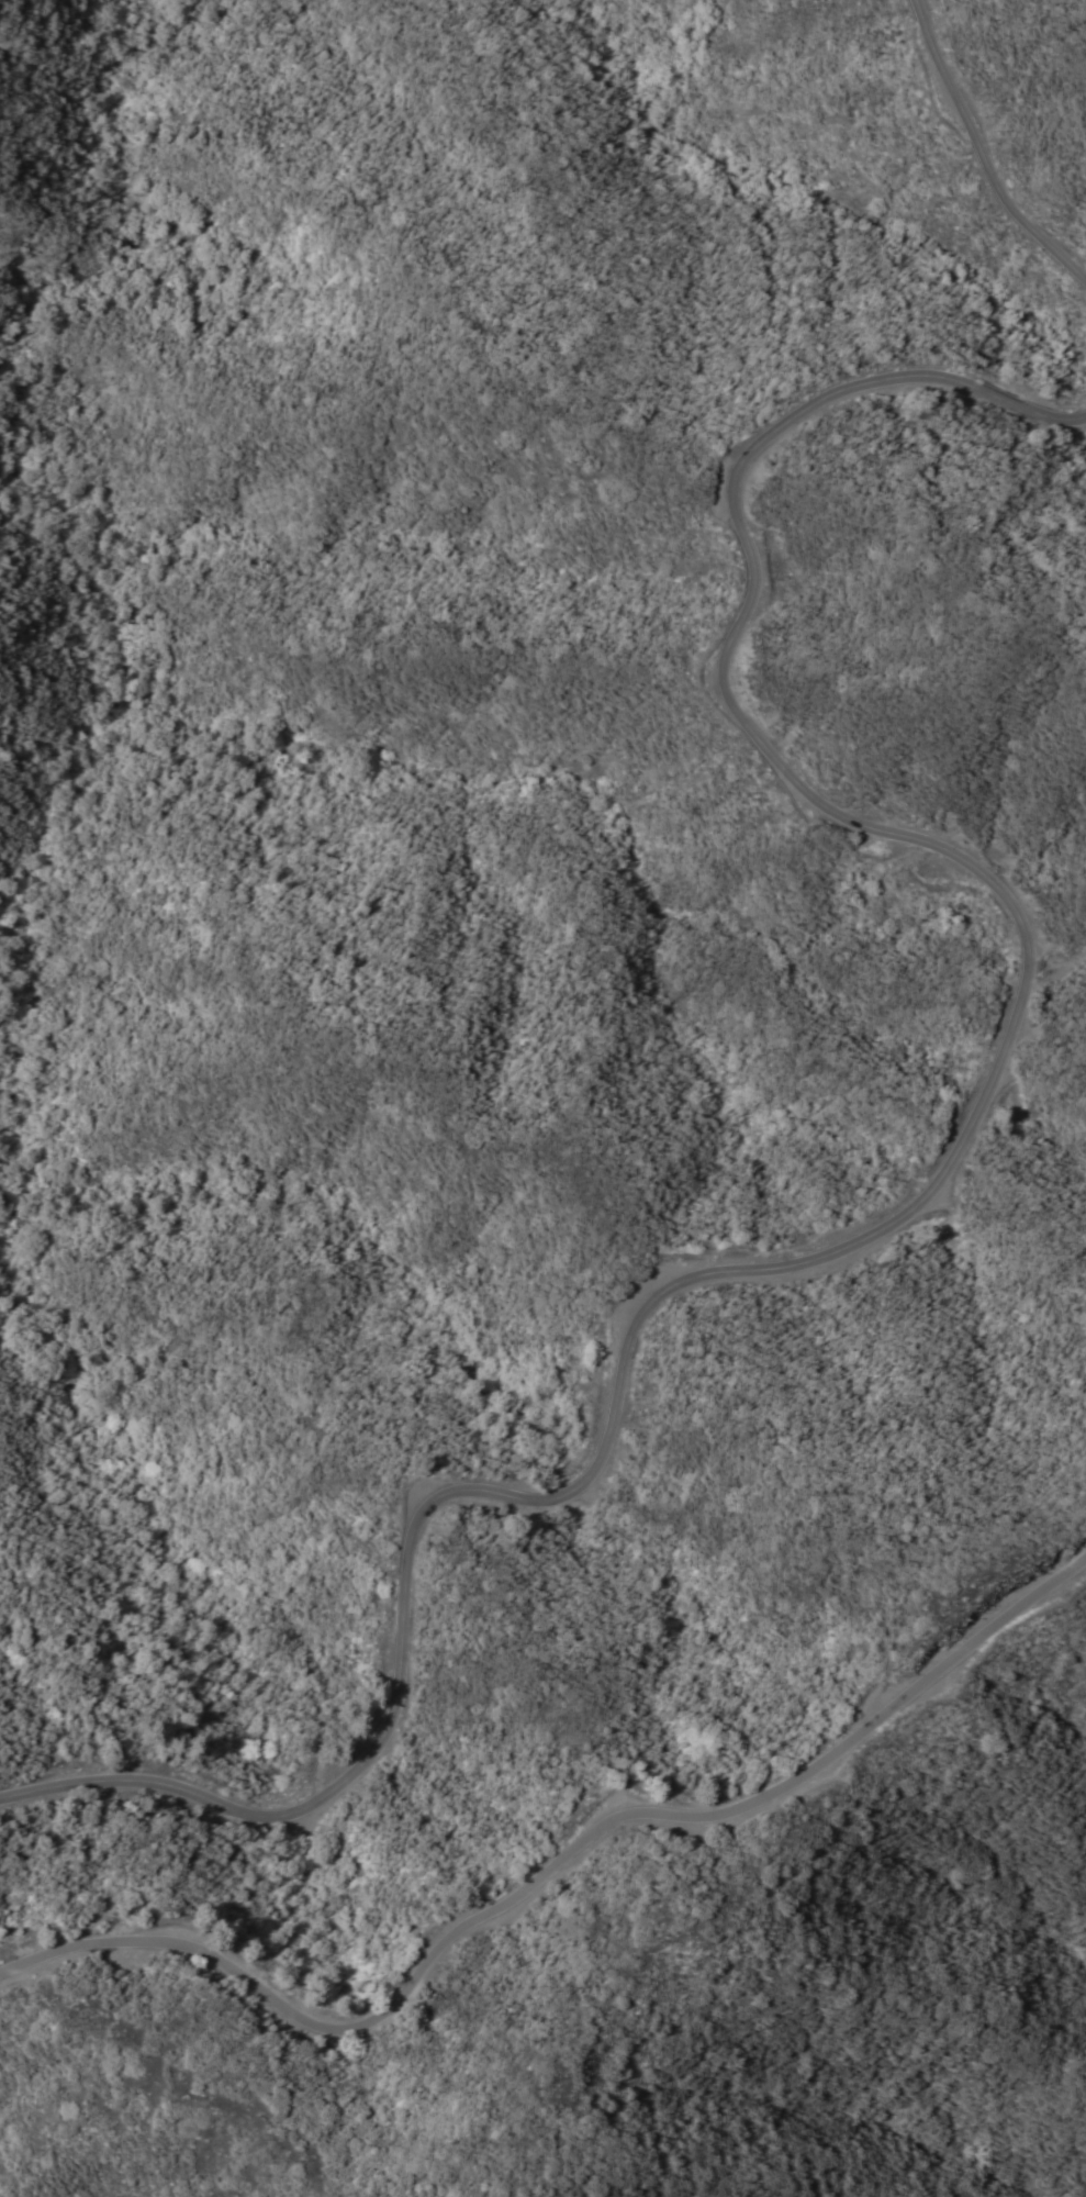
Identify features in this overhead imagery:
road: (978, 153)
road: (914, 1194)
road: (551, 1871)

